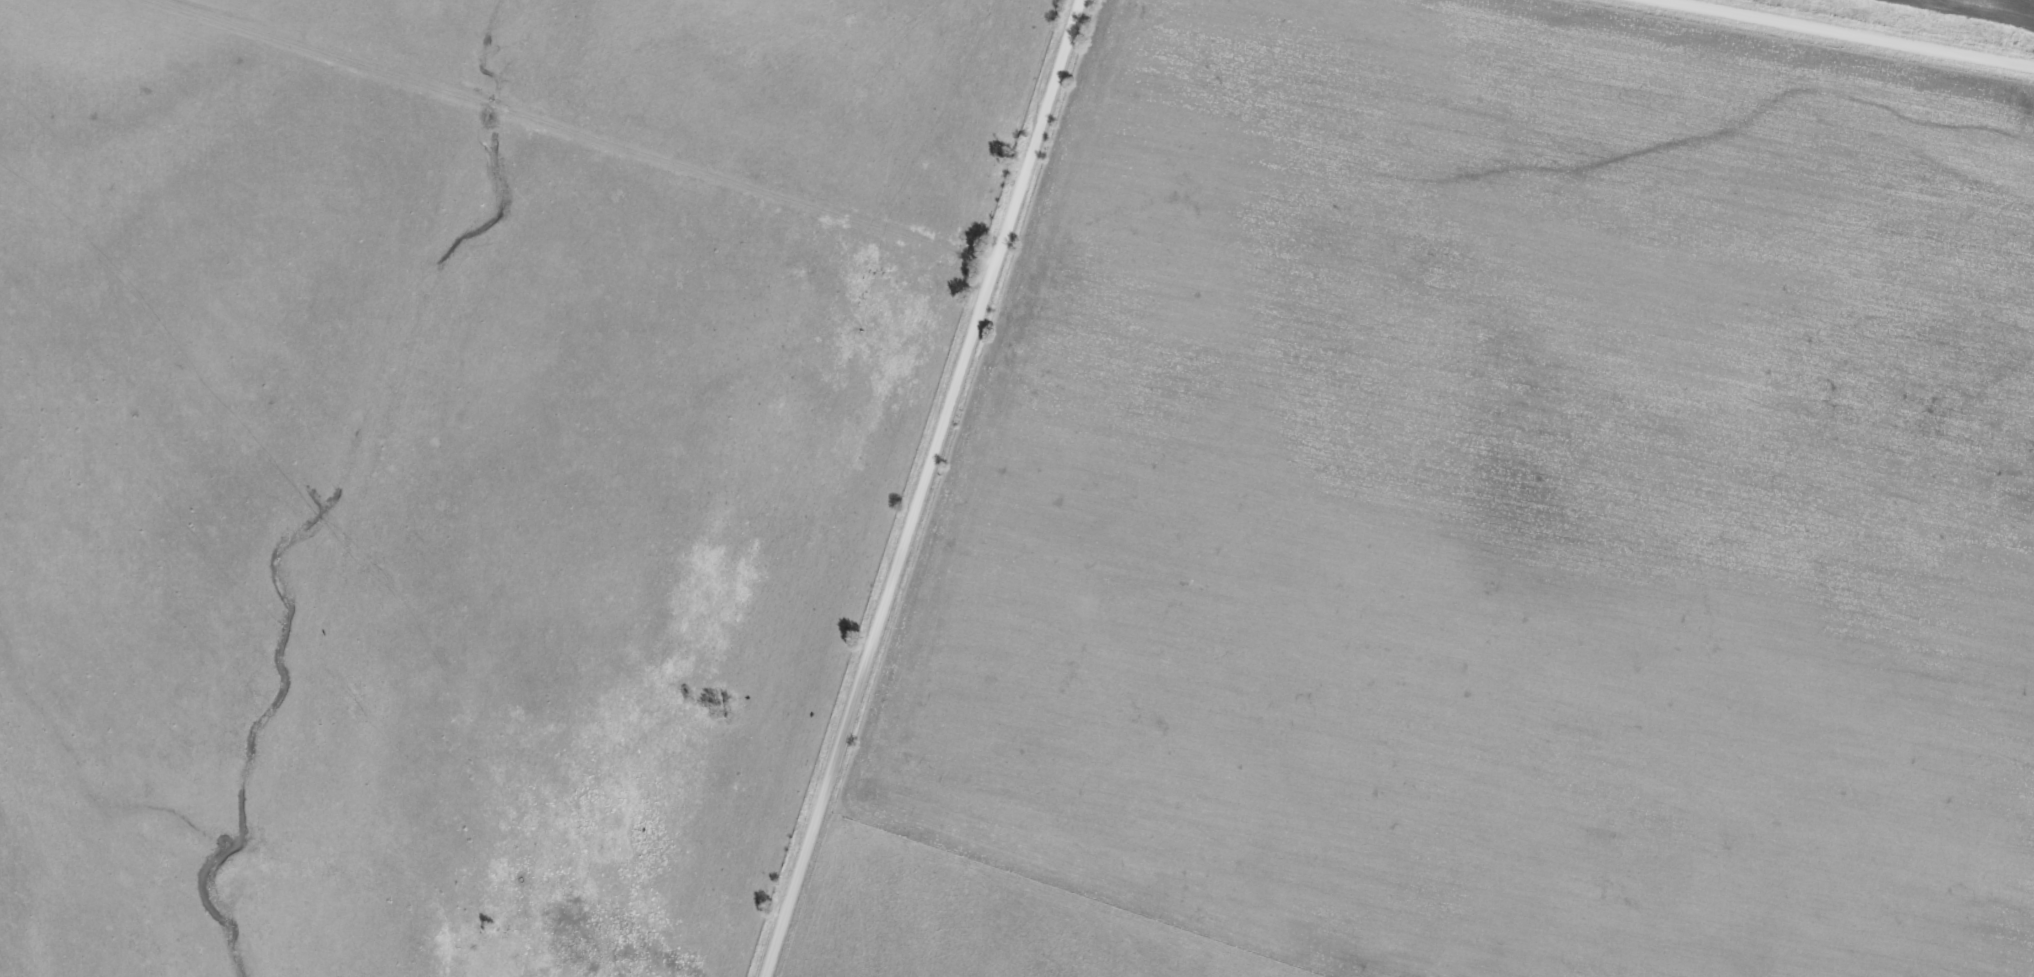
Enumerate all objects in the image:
road: (1848, 33)
road: (927, 488)

